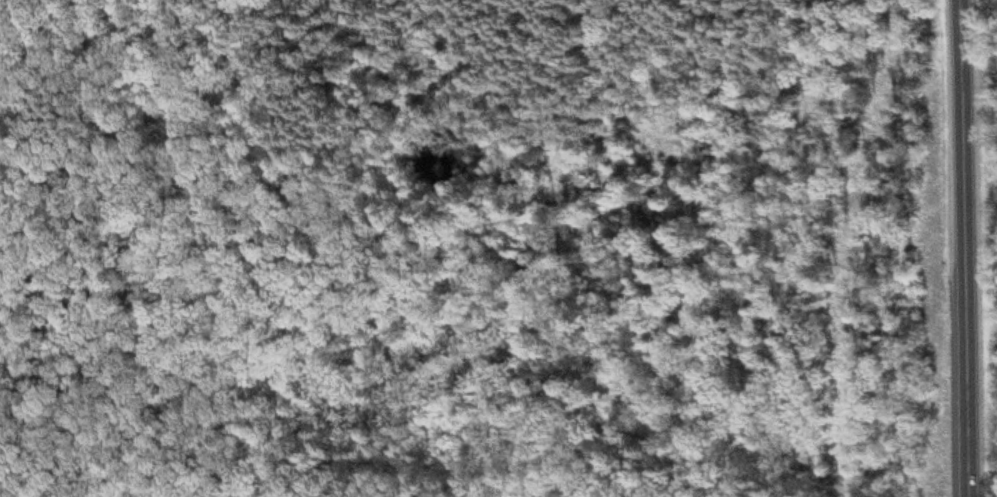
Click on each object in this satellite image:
road: (965, 14)
road: (969, 263)

